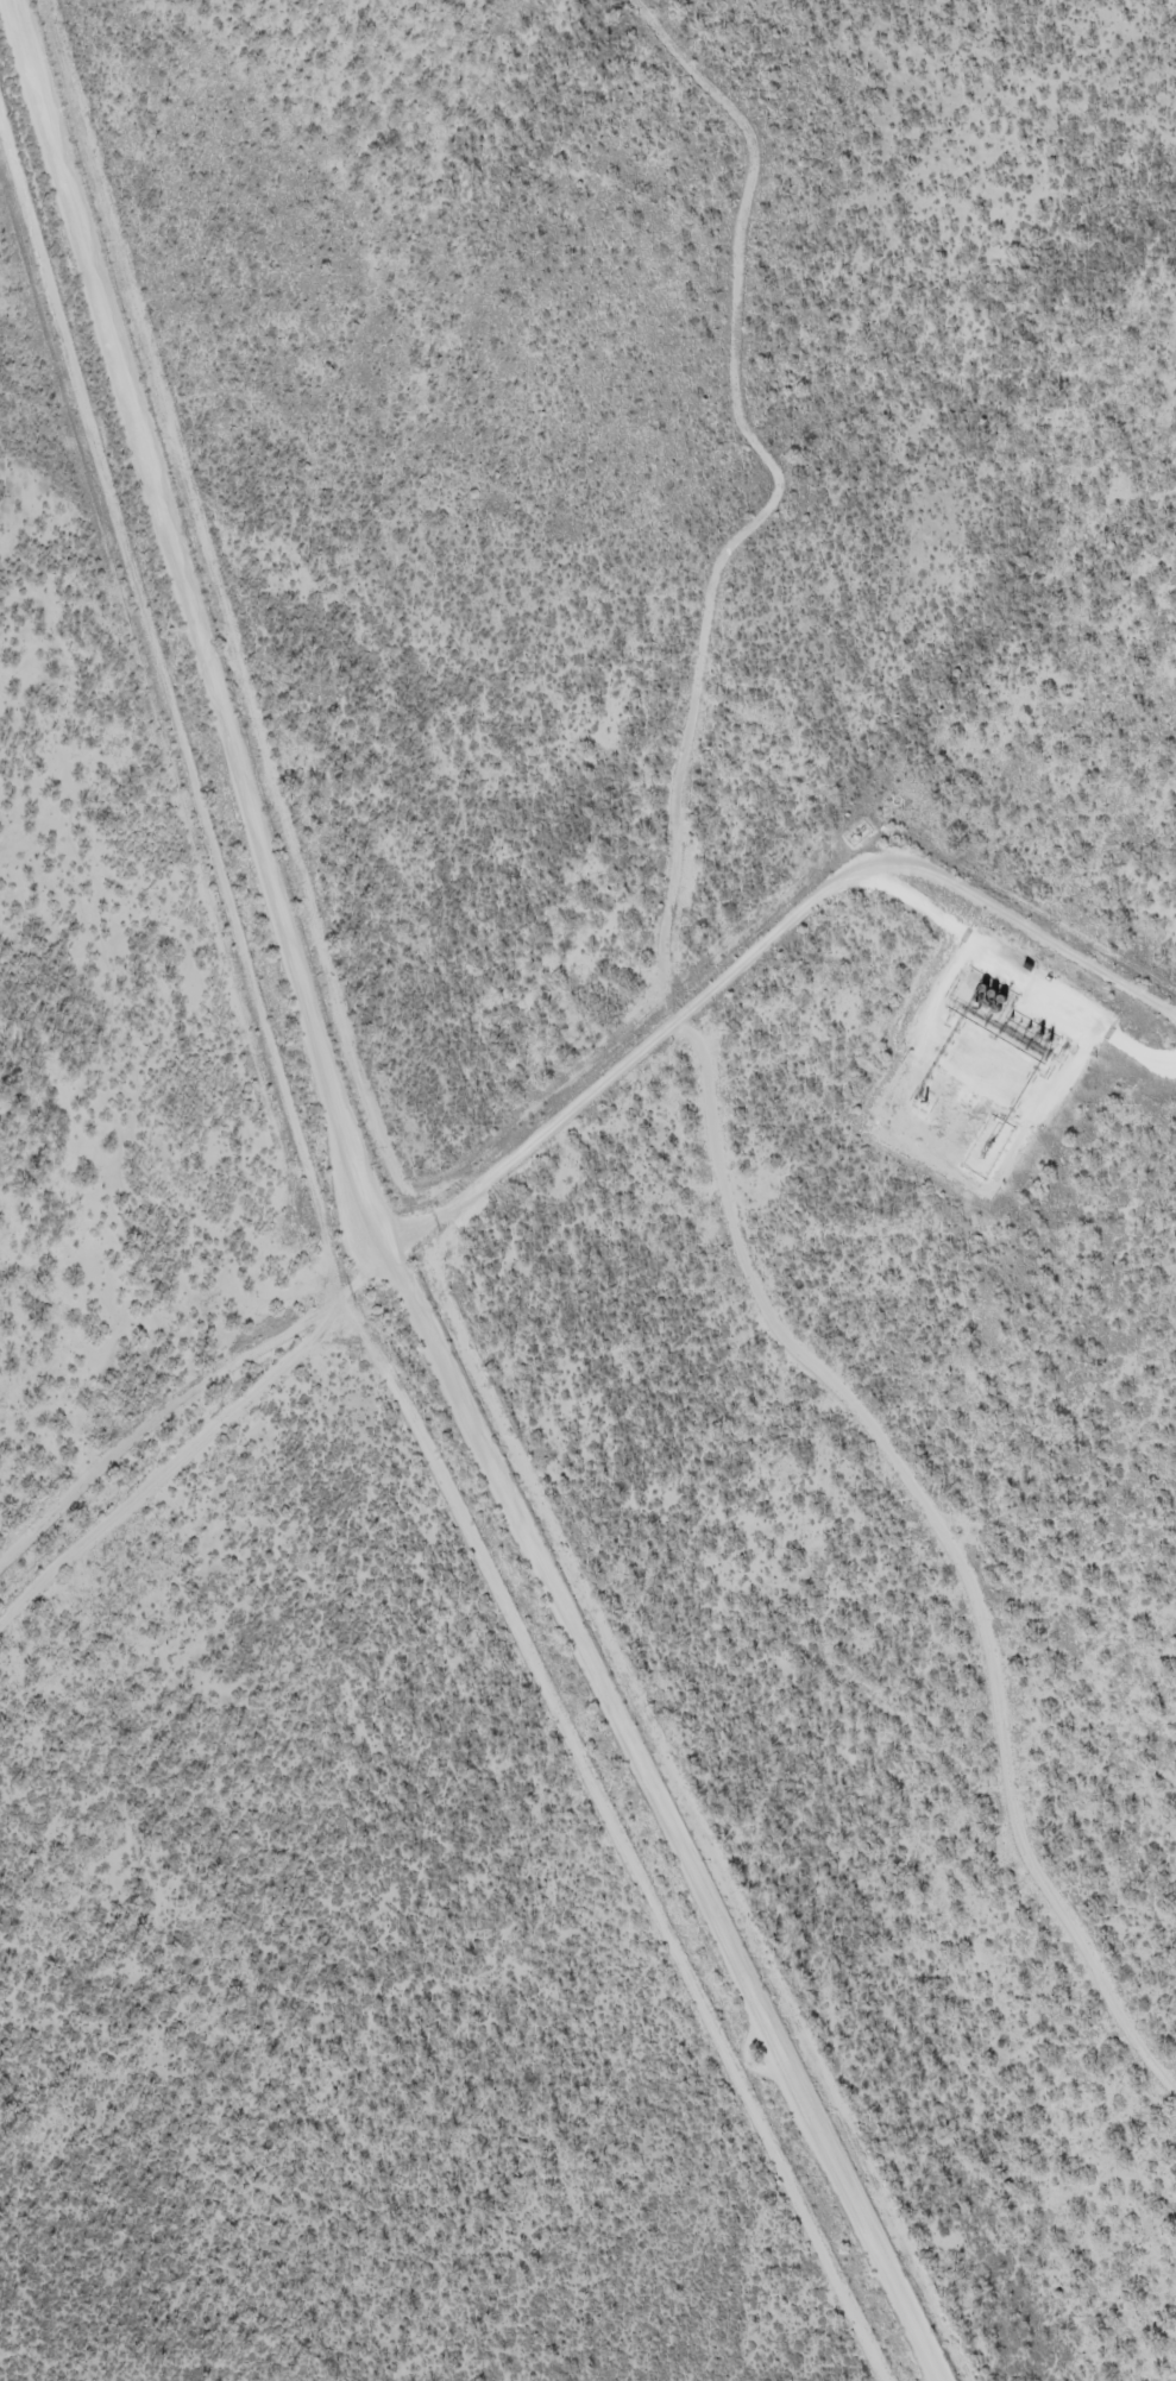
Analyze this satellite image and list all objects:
road: (761, 944)
road: (963, 944)
road: (375, 1227)

